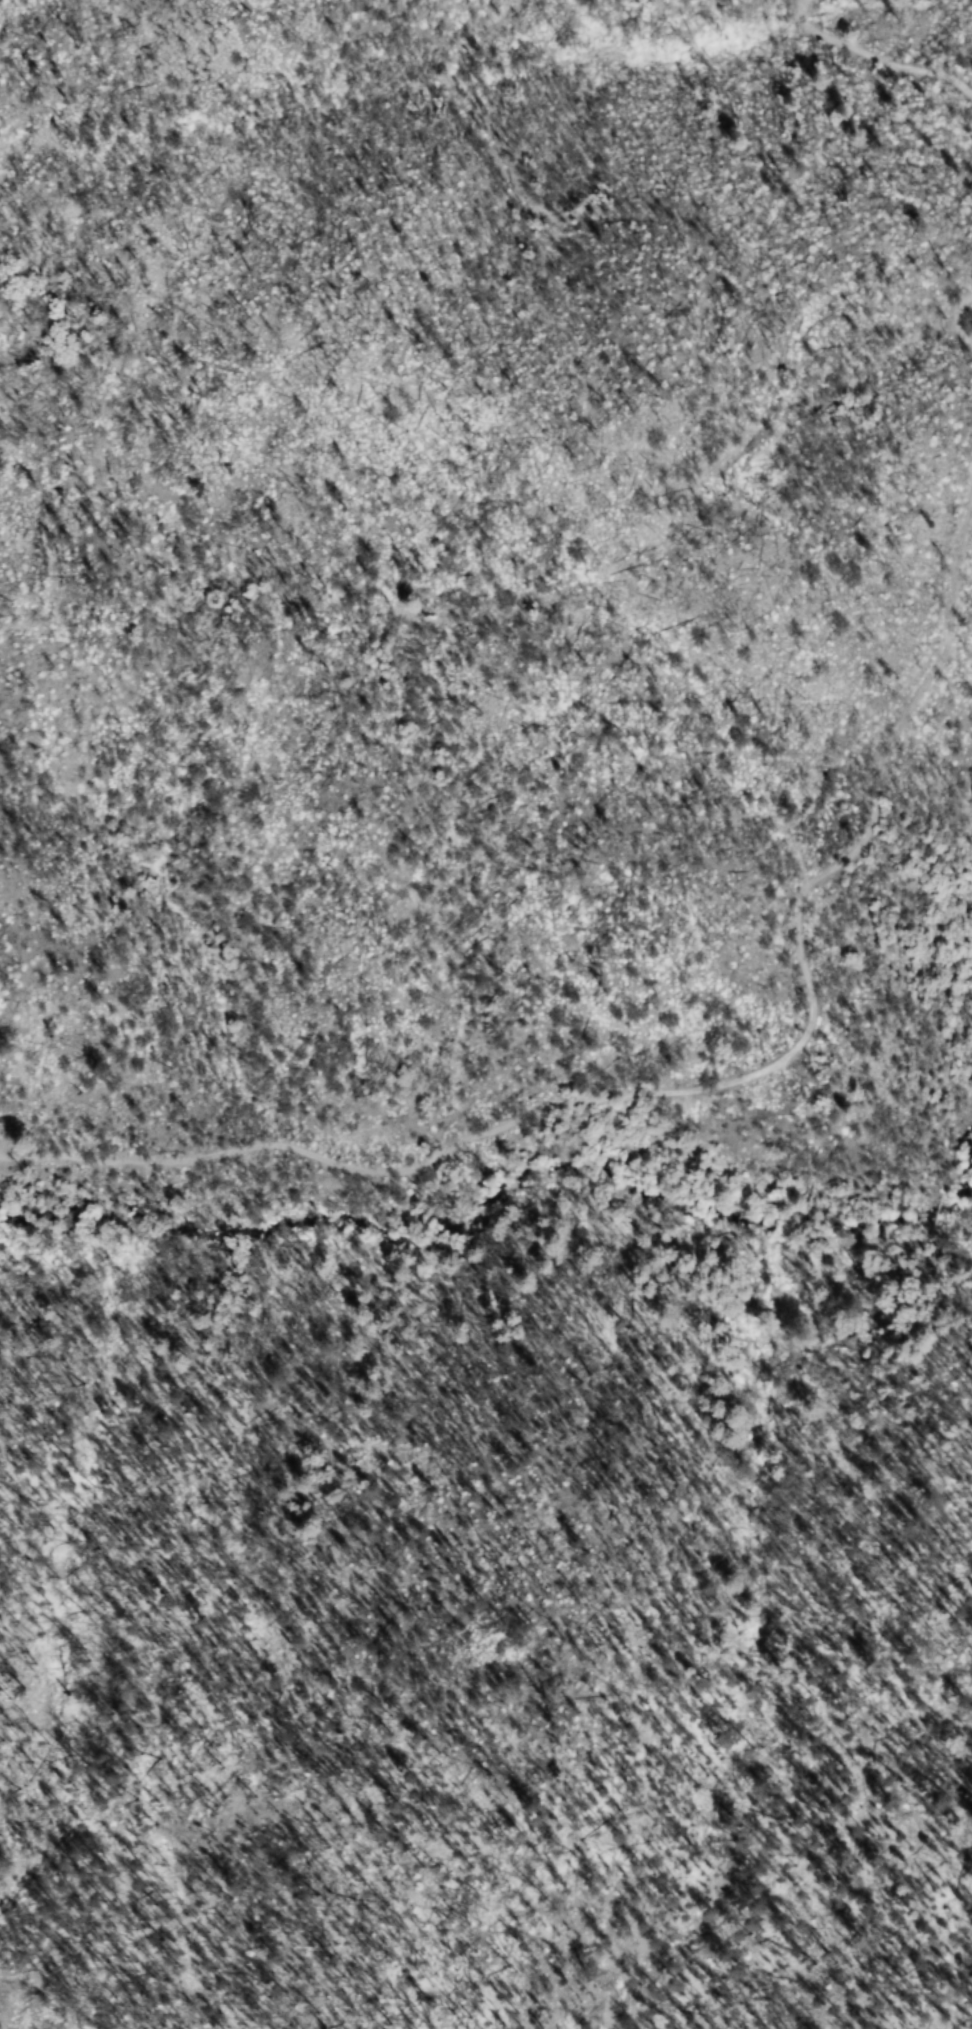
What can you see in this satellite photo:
road: (882, 50)
road: (752, 285)
road: (955, 317)
road: (690, 1092)
road: (6, 1151)

